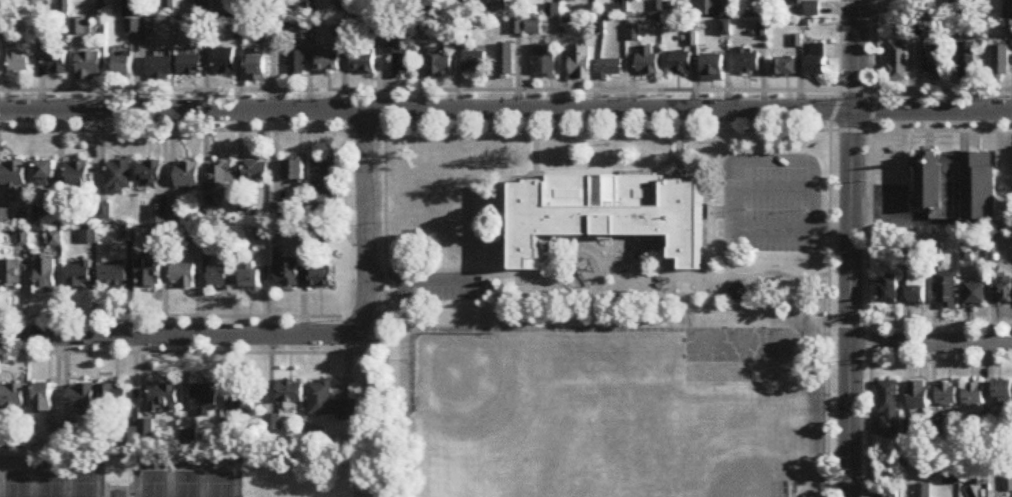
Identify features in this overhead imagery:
building: (573, 0)
building: (500, 5)
building: (963, 7)
building: (340, 9)
building: (908, 26)
building: (536, 27)
building: (341, 28)
building: (723, 28)
building: (305, 30)
road: (857, 55)
building: (20, 58)
building: (400, 59)
building: (364, 60)
building: (474, 60)
building: (507, 60)
building: (546, 60)
building: (750, 60)
building: (935, 60)
building: (969, 60)
building: (649, 61)
building: (56, 62)
building: (225, 62)
building: (330, 62)
building: (682, 62)
building: (581, 63)
building: (899, 63)
building: (1002, 63)
building: (191, 64)
building: (89, 65)
building: (257, 65)
building: (298, 65)
building: (124, 66)
building: (440, 66)
building: (714, 67)
building: (785, 67)
building: (816, 67)
building: (161, 68)
building: (611, 68)
road: (925, 87)
road: (419, 88)
road: (506, 109)
road: (506, 129)
building: (46, 170)
building: (257, 172)
building: (294, 172)
building: (13, 173)
building: (78, 174)
building: (150, 174)
building: (119, 176)
building: (188, 176)
building: (221, 176)
building: (322, 179)
road: (733, 182)
building: (956, 186)
road: (773, 190)
building: (608, 212)
road: (365, 223)
building: (263, 233)
building: (89, 234)
building: (194, 234)
building: (56, 238)
road: (829, 247)
road: (869, 248)
building: (288, 271)
building: (11, 272)
building: (46, 273)
building: (149, 273)
building: (80, 274)
road: (421, 274)
building: (183, 275)
building: (221, 276)
building: (254, 276)
building: (113, 278)
building: (321, 278)
building: (917, 287)
building: (889, 289)
building: (947, 290)
building: (1004, 290)
building: (977, 294)
road: (849, 303)
road: (170, 315)
road: (920, 323)
road: (548, 329)
road: (175, 332)
road: (930, 341)
park: (744, 343)
road: (297, 351)
road: (920, 359)
road: (410, 373)
building: (290, 392)
building: (947, 394)
building: (973, 394)
building: (1003, 394)
building: (918, 395)
building: (13, 396)
building: (81, 396)
building: (113, 396)
building: (164, 397)
building: (43, 398)
building: (244, 399)
building: (205, 400)
building: (329, 403)
building: (888, 407)
road: (365, 424)
park: (179, 474)
park: (17, 484)
park: (51, 484)
park: (84, 484)
park: (154, 484)
park: (187, 484)
park: (221, 484)
road: (119, 489)
building: (923, 491)
building: (891, 493)

